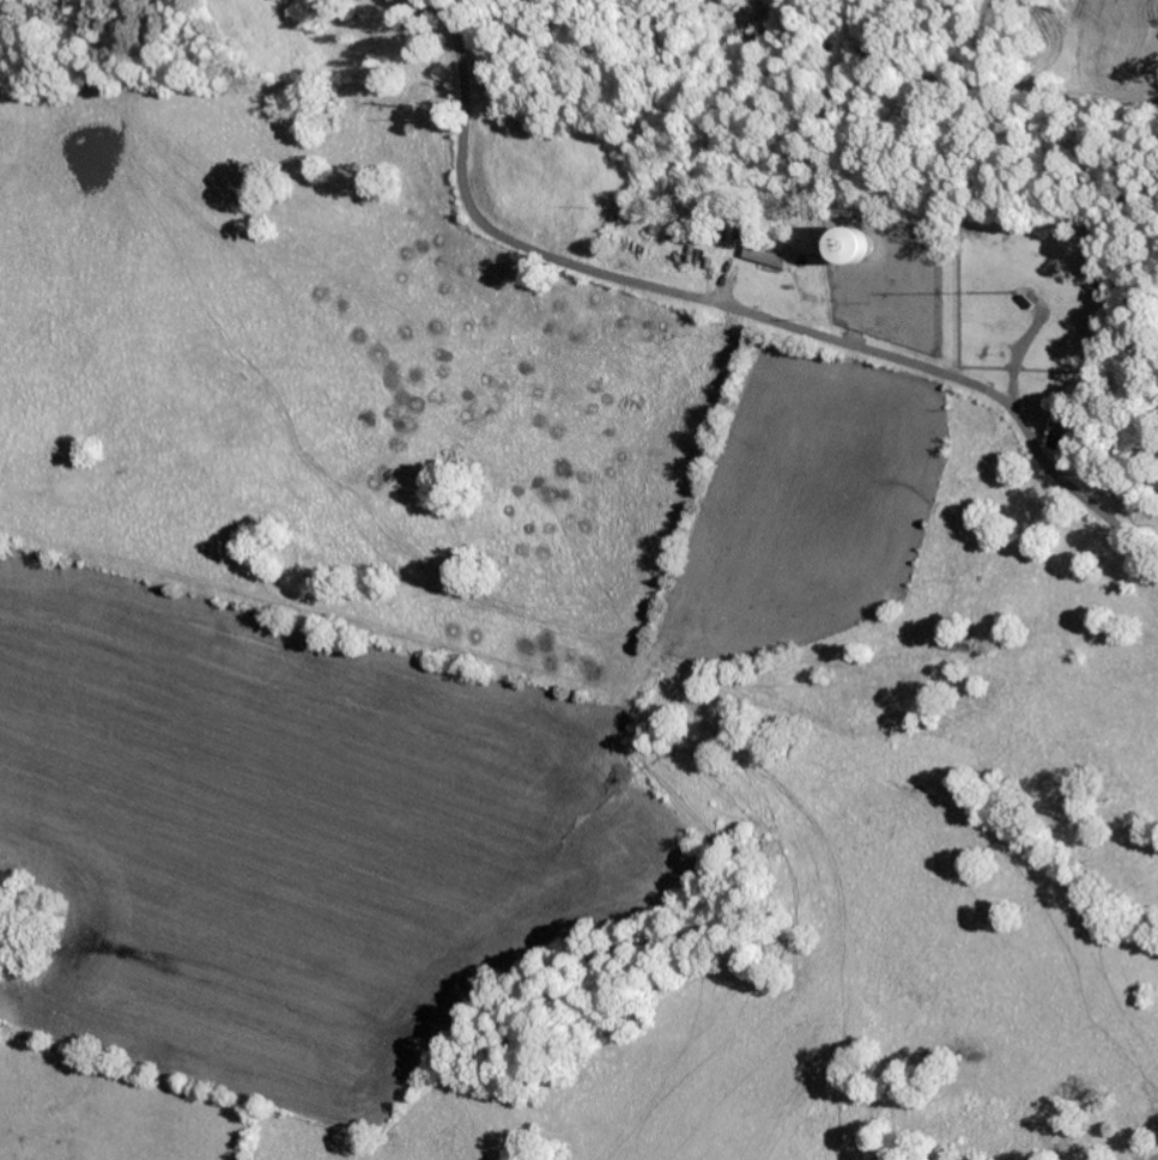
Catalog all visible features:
building: (760, 255)
road: (738, 312)

